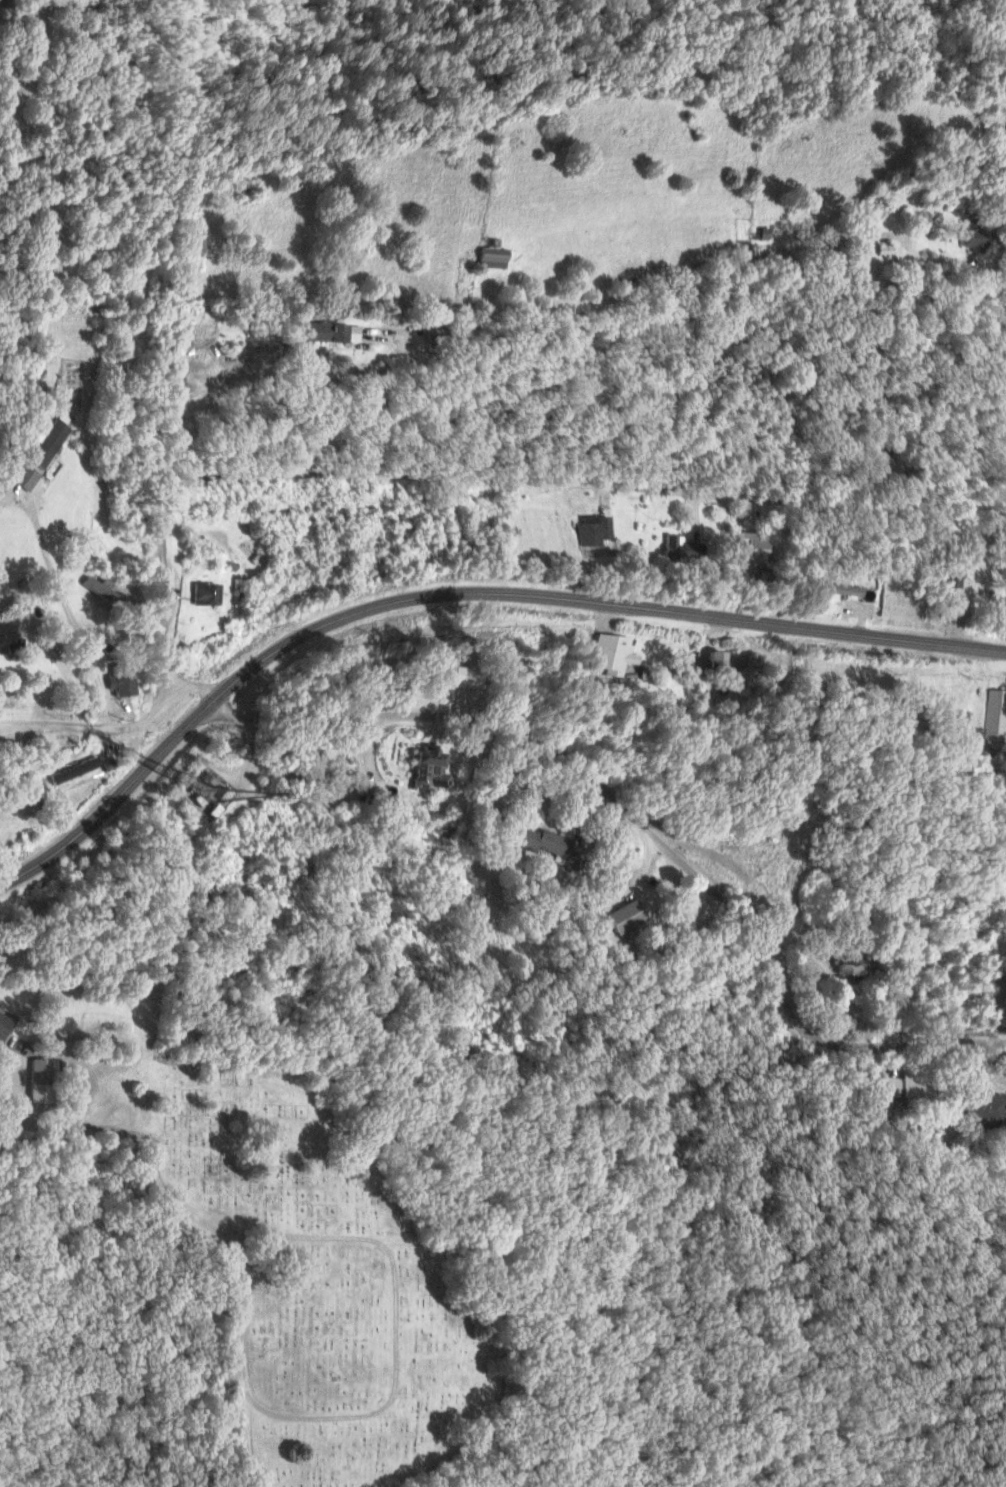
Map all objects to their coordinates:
road: (517, 156)
road: (502, 250)
building: (484, 257)
road: (643, 295)
building: (323, 331)
building: (351, 333)
building: (438, 336)
building: (45, 441)
road: (500, 473)
building: (19, 477)
road: (724, 527)
building: (592, 530)
building: (680, 548)
building: (747, 548)
road: (1002, 571)
building: (946, 578)
building: (103, 593)
building: (201, 593)
road: (61, 600)
road: (598, 601)
building: (4, 636)
building: (609, 653)
building: (719, 662)
building: (117, 680)
road: (187, 683)
road: (90, 720)
building: (993, 720)
road: (367, 742)
building: (70, 770)
building: (422, 770)
road: (113, 793)
road: (645, 829)
building: (538, 842)
building: (620, 917)
building: (843, 969)
building: (2, 1023)
building: (38, 1071)
building: (901, 1087)
building: (977, 1104)
road: (135, 1135)
road: (382, 1393)

